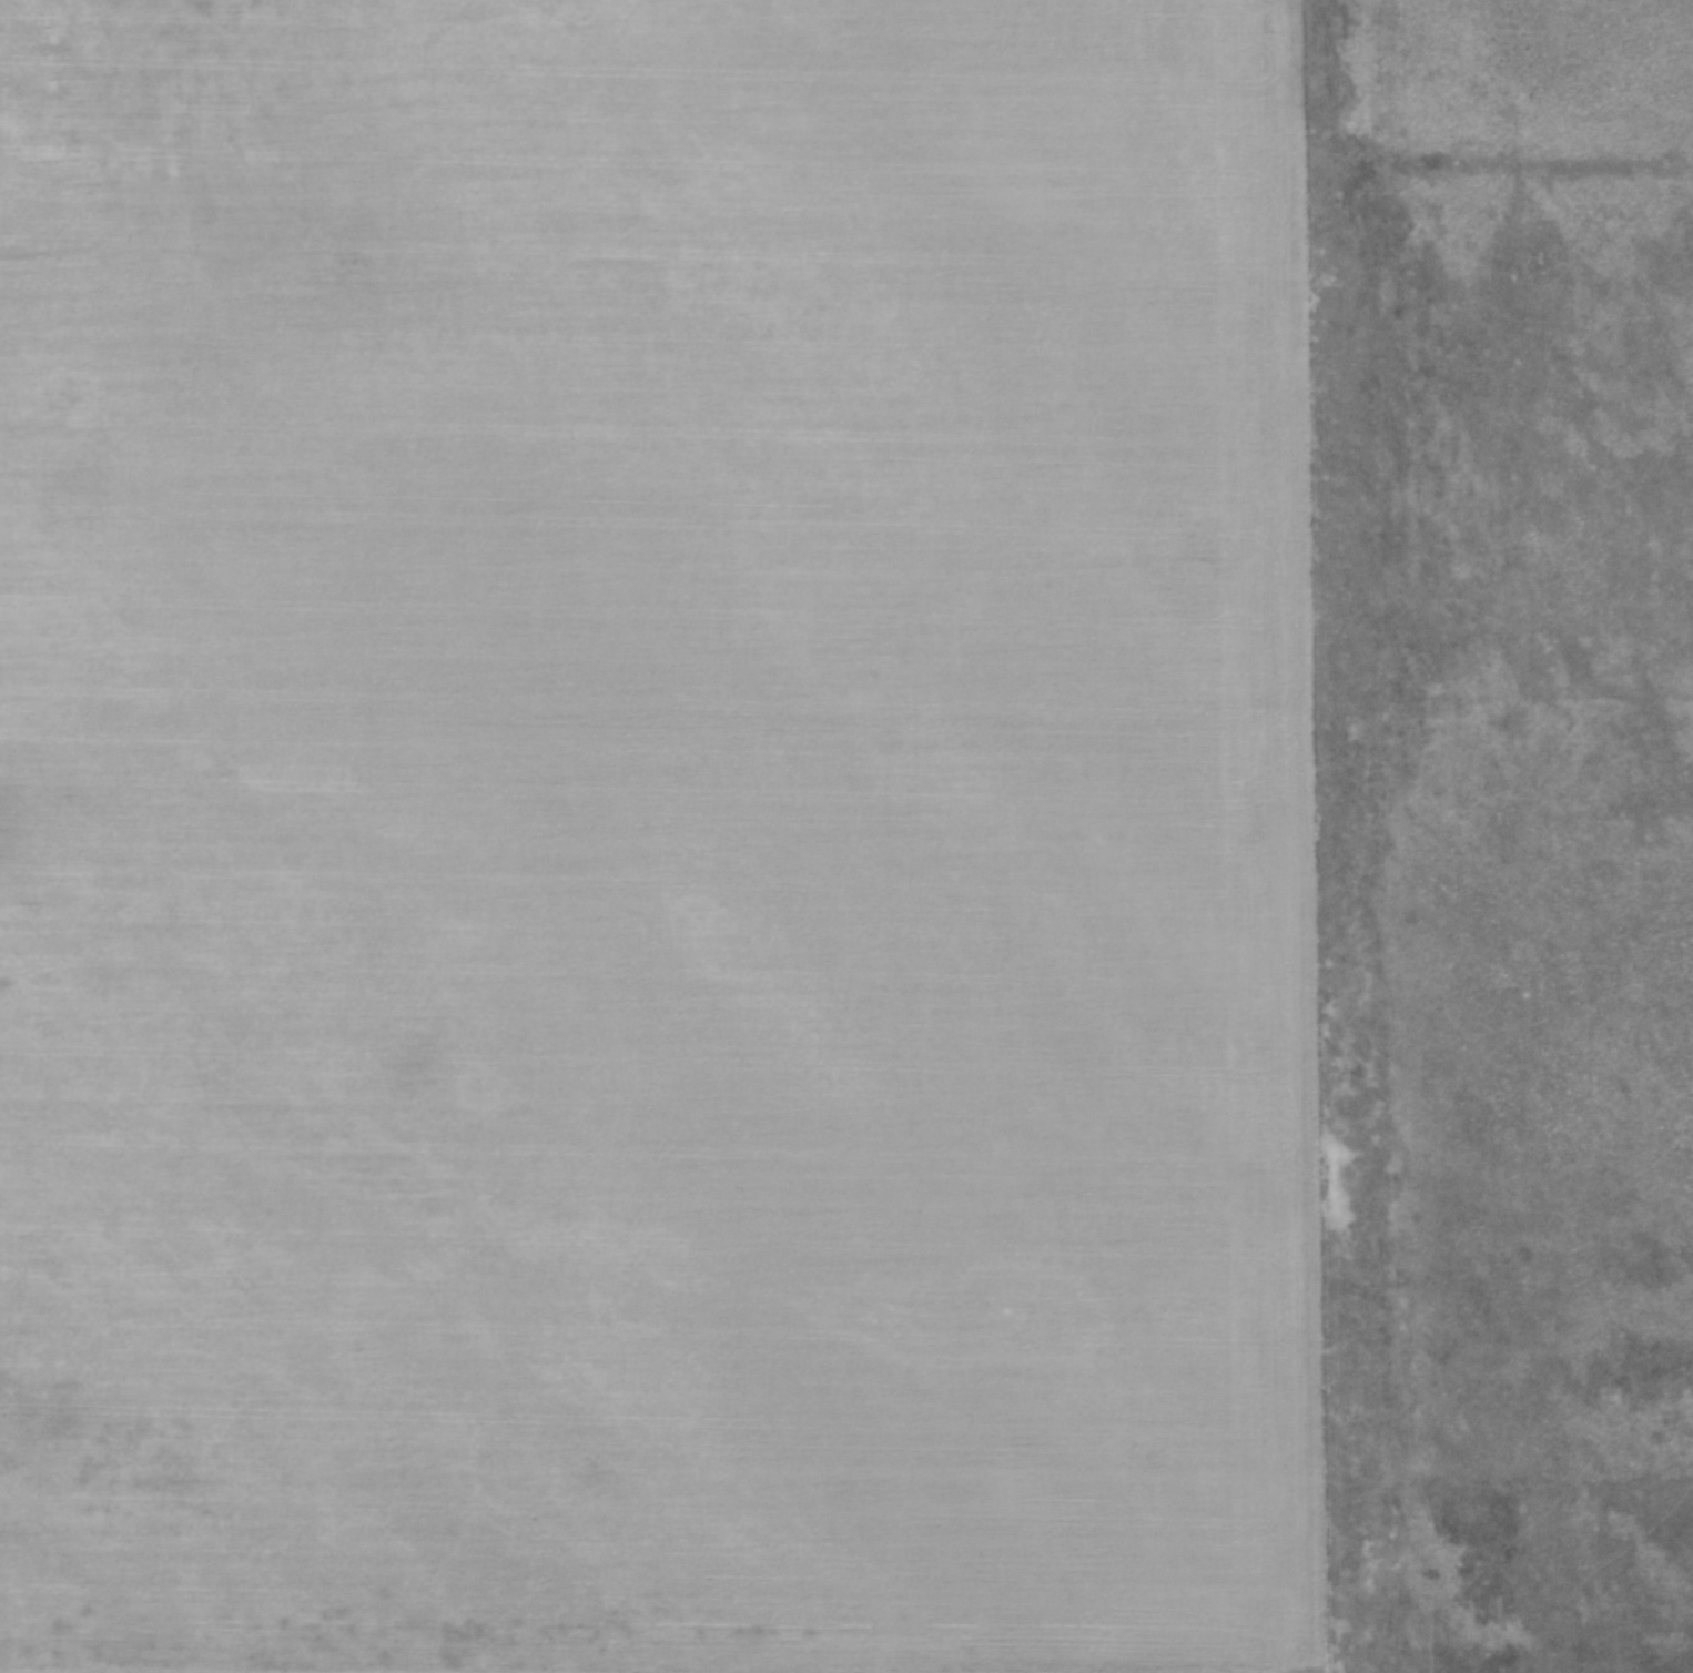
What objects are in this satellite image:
building: (217, 7)
silo: (217, 7)
building: (191, 8)
silo: (191, 8)
building: (235, 8)
silo: (235, 8)
building: (235, 23)
silo: (235, 23)
building: (219, 24)
silo: (219, 24)
building: (191, 27)
silo: (191, 27)
building: (60, 75)
silo: (60, 75)
building: (120, 94)
building: (201, 131)
building: (62, 132)
building: (149, 150)
road: (132, 217)
building: (235, 237)
crop: (672, 862)

